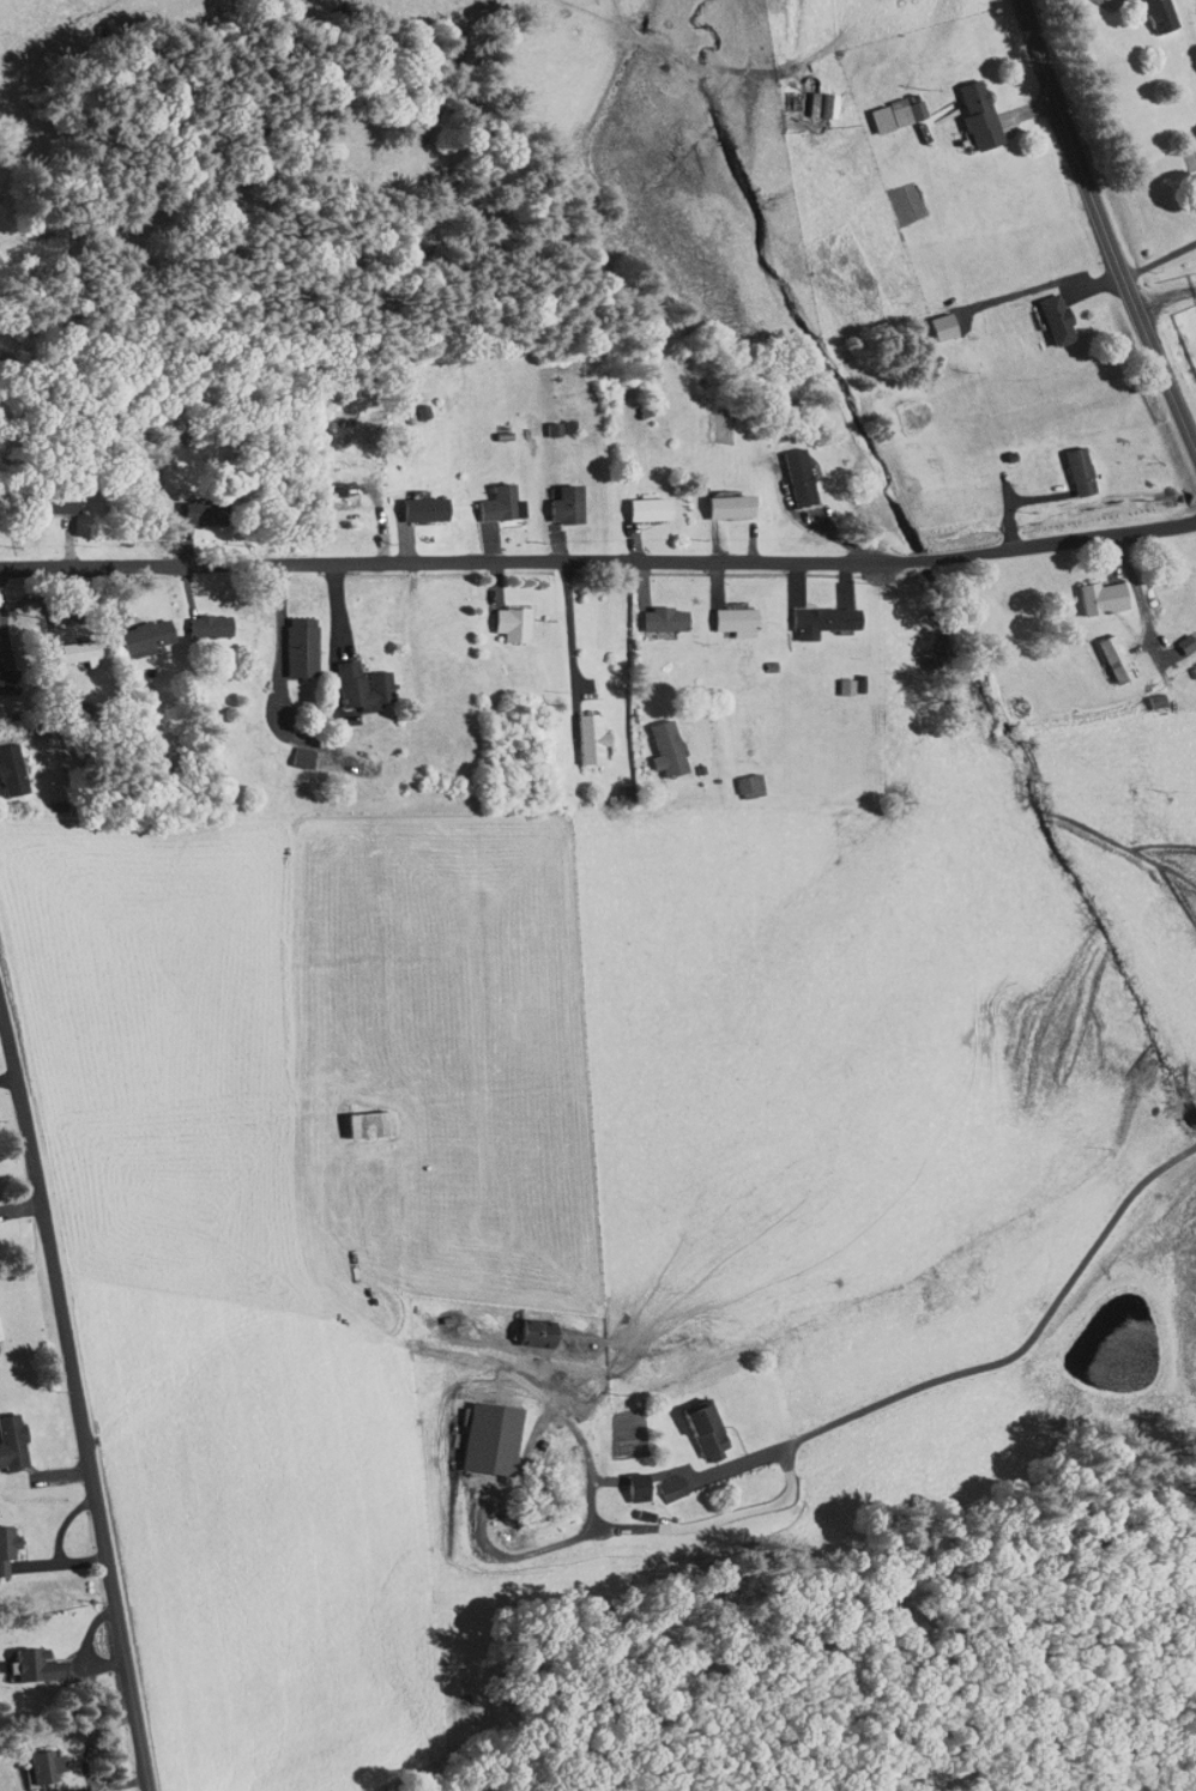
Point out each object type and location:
road: (1104, 229)
road: (1162, 292)
road: (599, 562)
road: (1142, 604)
road: (572, 639)
road: (1001, 1365)
road: (75, 1398)

